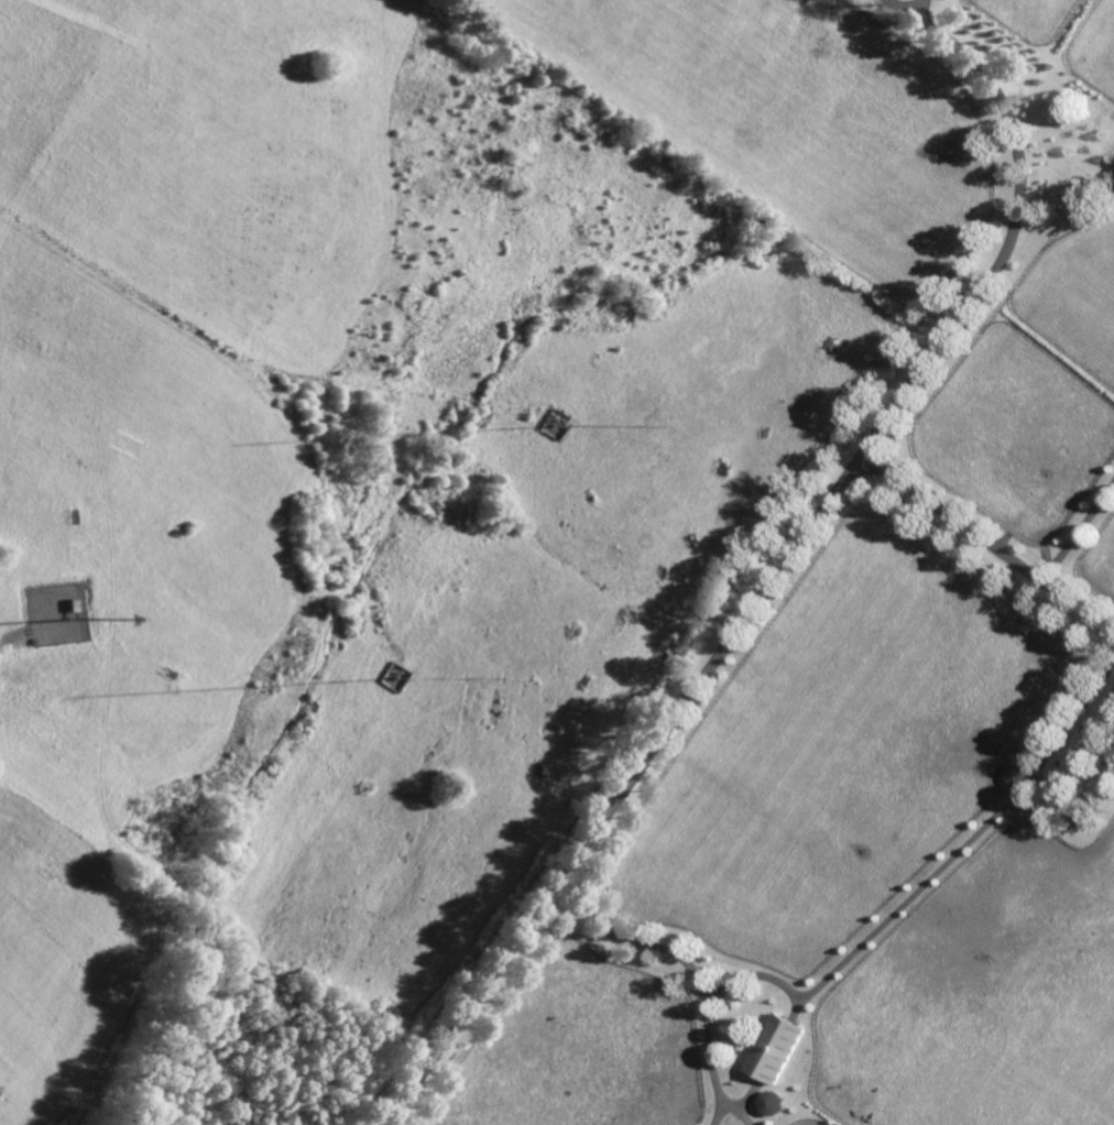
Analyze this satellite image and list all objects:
road: (921, 10)
building: (1108, 190)
road: (986, 542)
road: (783, 559)
building: (1085, 740)
building: (1022, 775)
road: (910, 897)
road: (688, 964)
building: (776, 1048)
building: (772, 1103)

